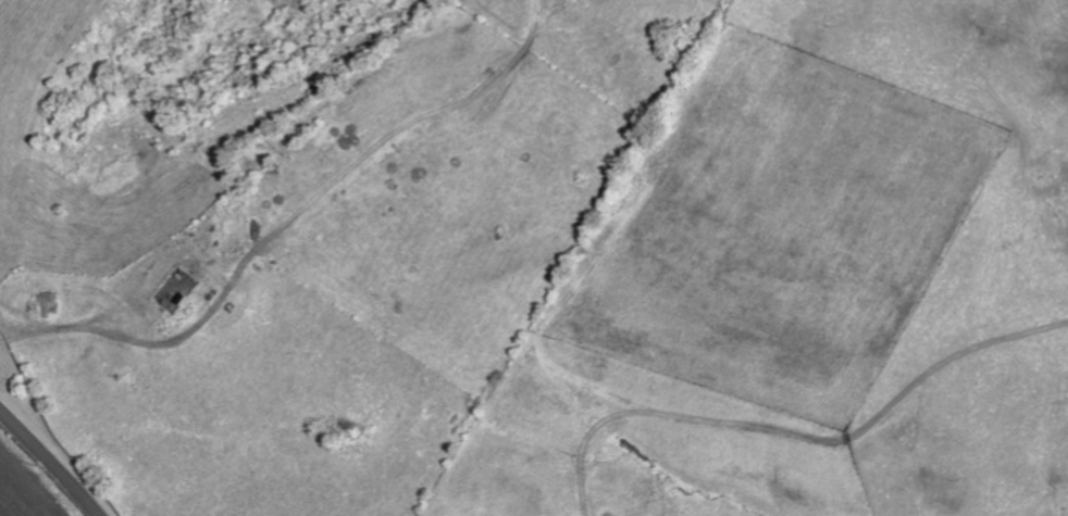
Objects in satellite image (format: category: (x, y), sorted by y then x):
road: (135, 340)
road: (50, 461)

